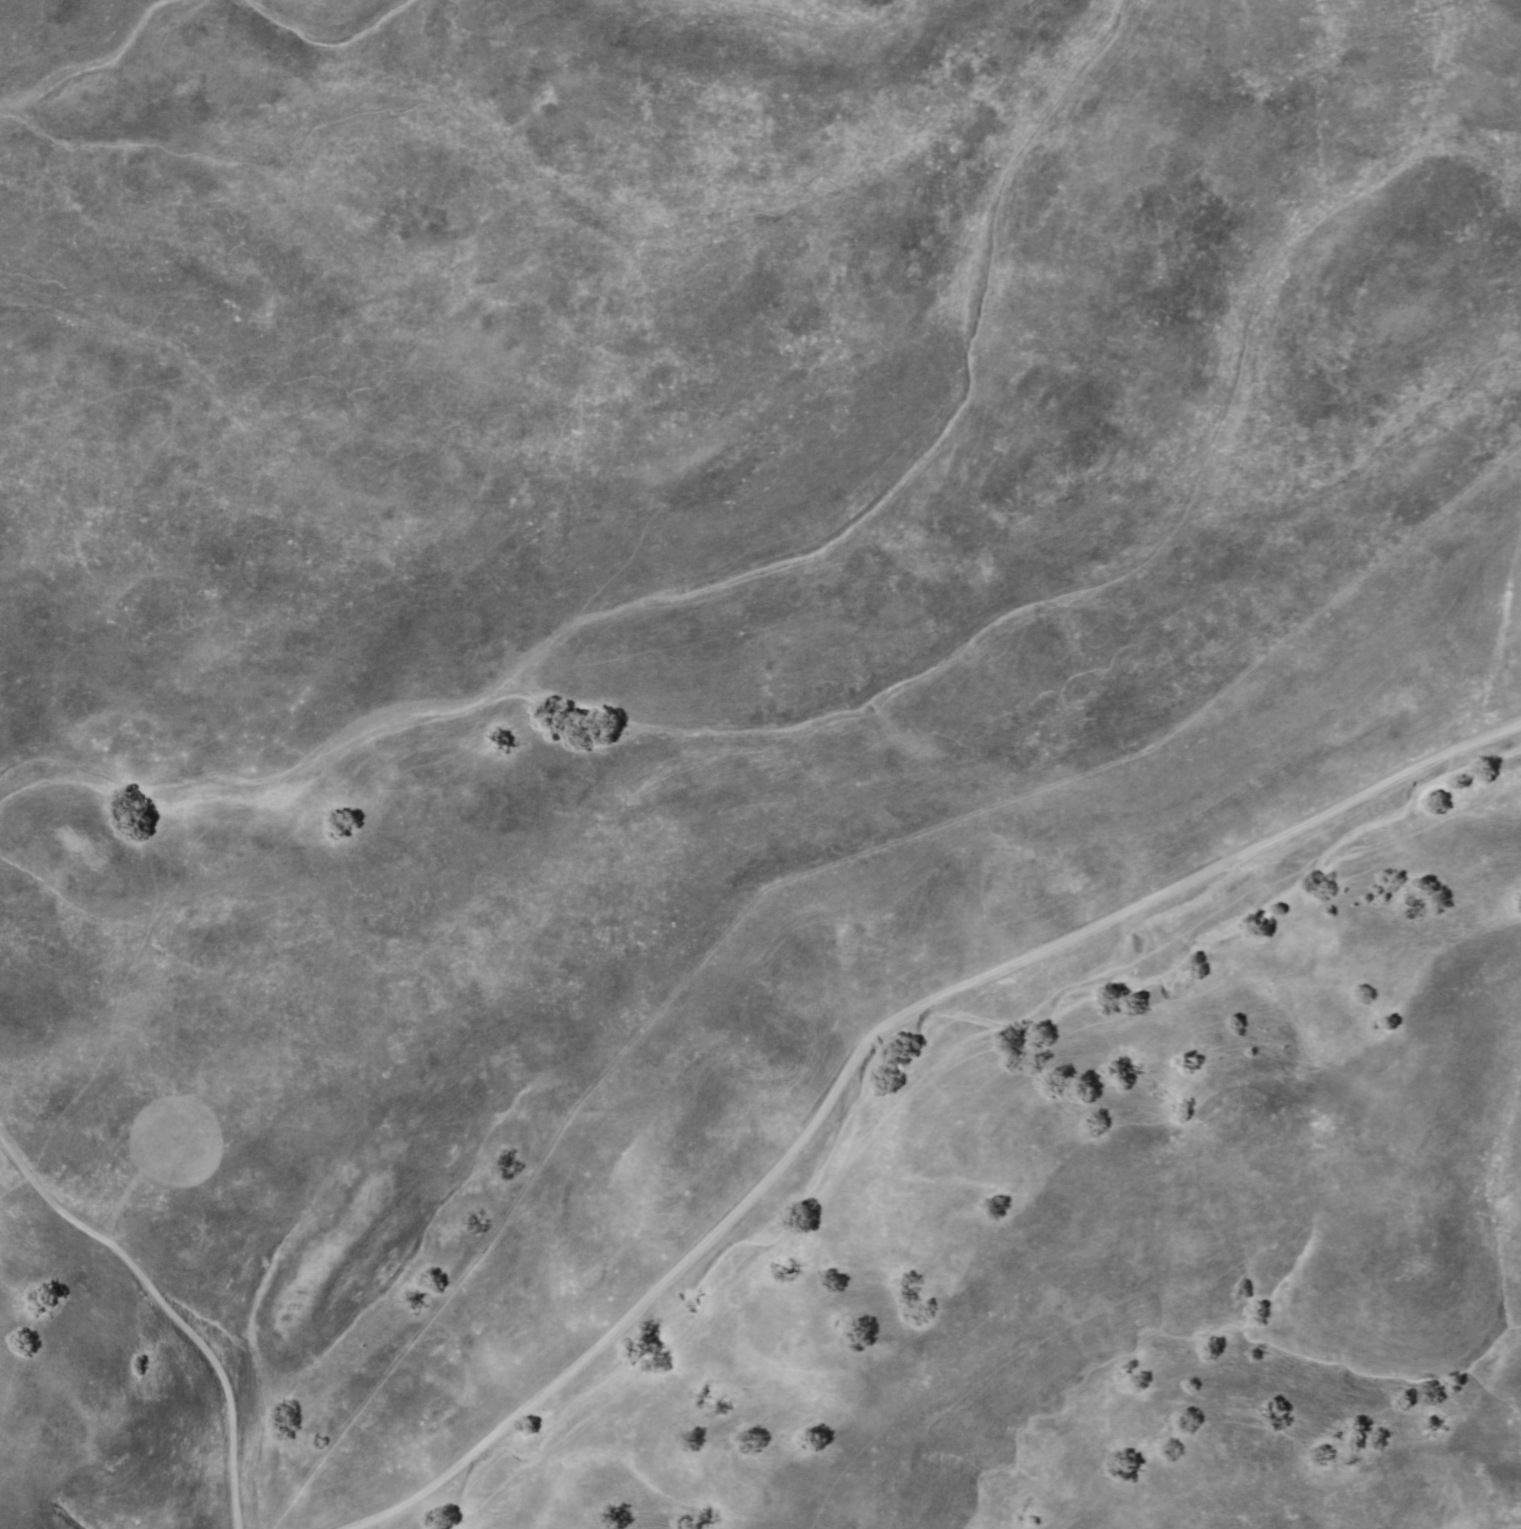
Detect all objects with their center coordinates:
road: (871, 1037)
road: (168, 1305)

